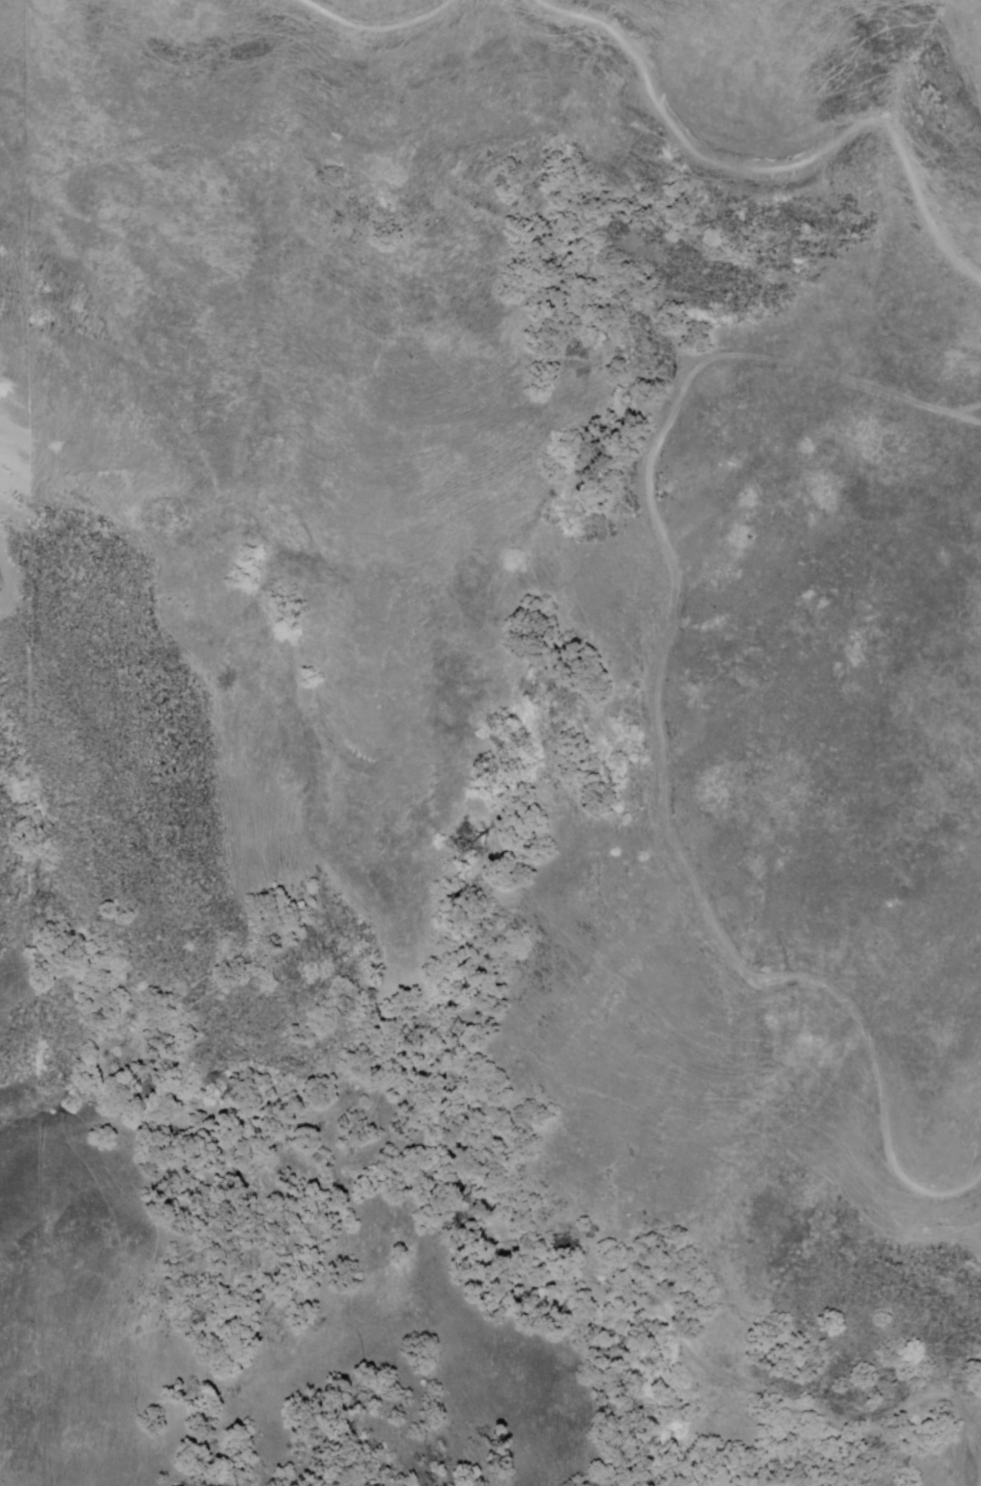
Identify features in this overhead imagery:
road: (375, 31)
road: (770, 169)
road: (973, 412)
road: (656, 718)

